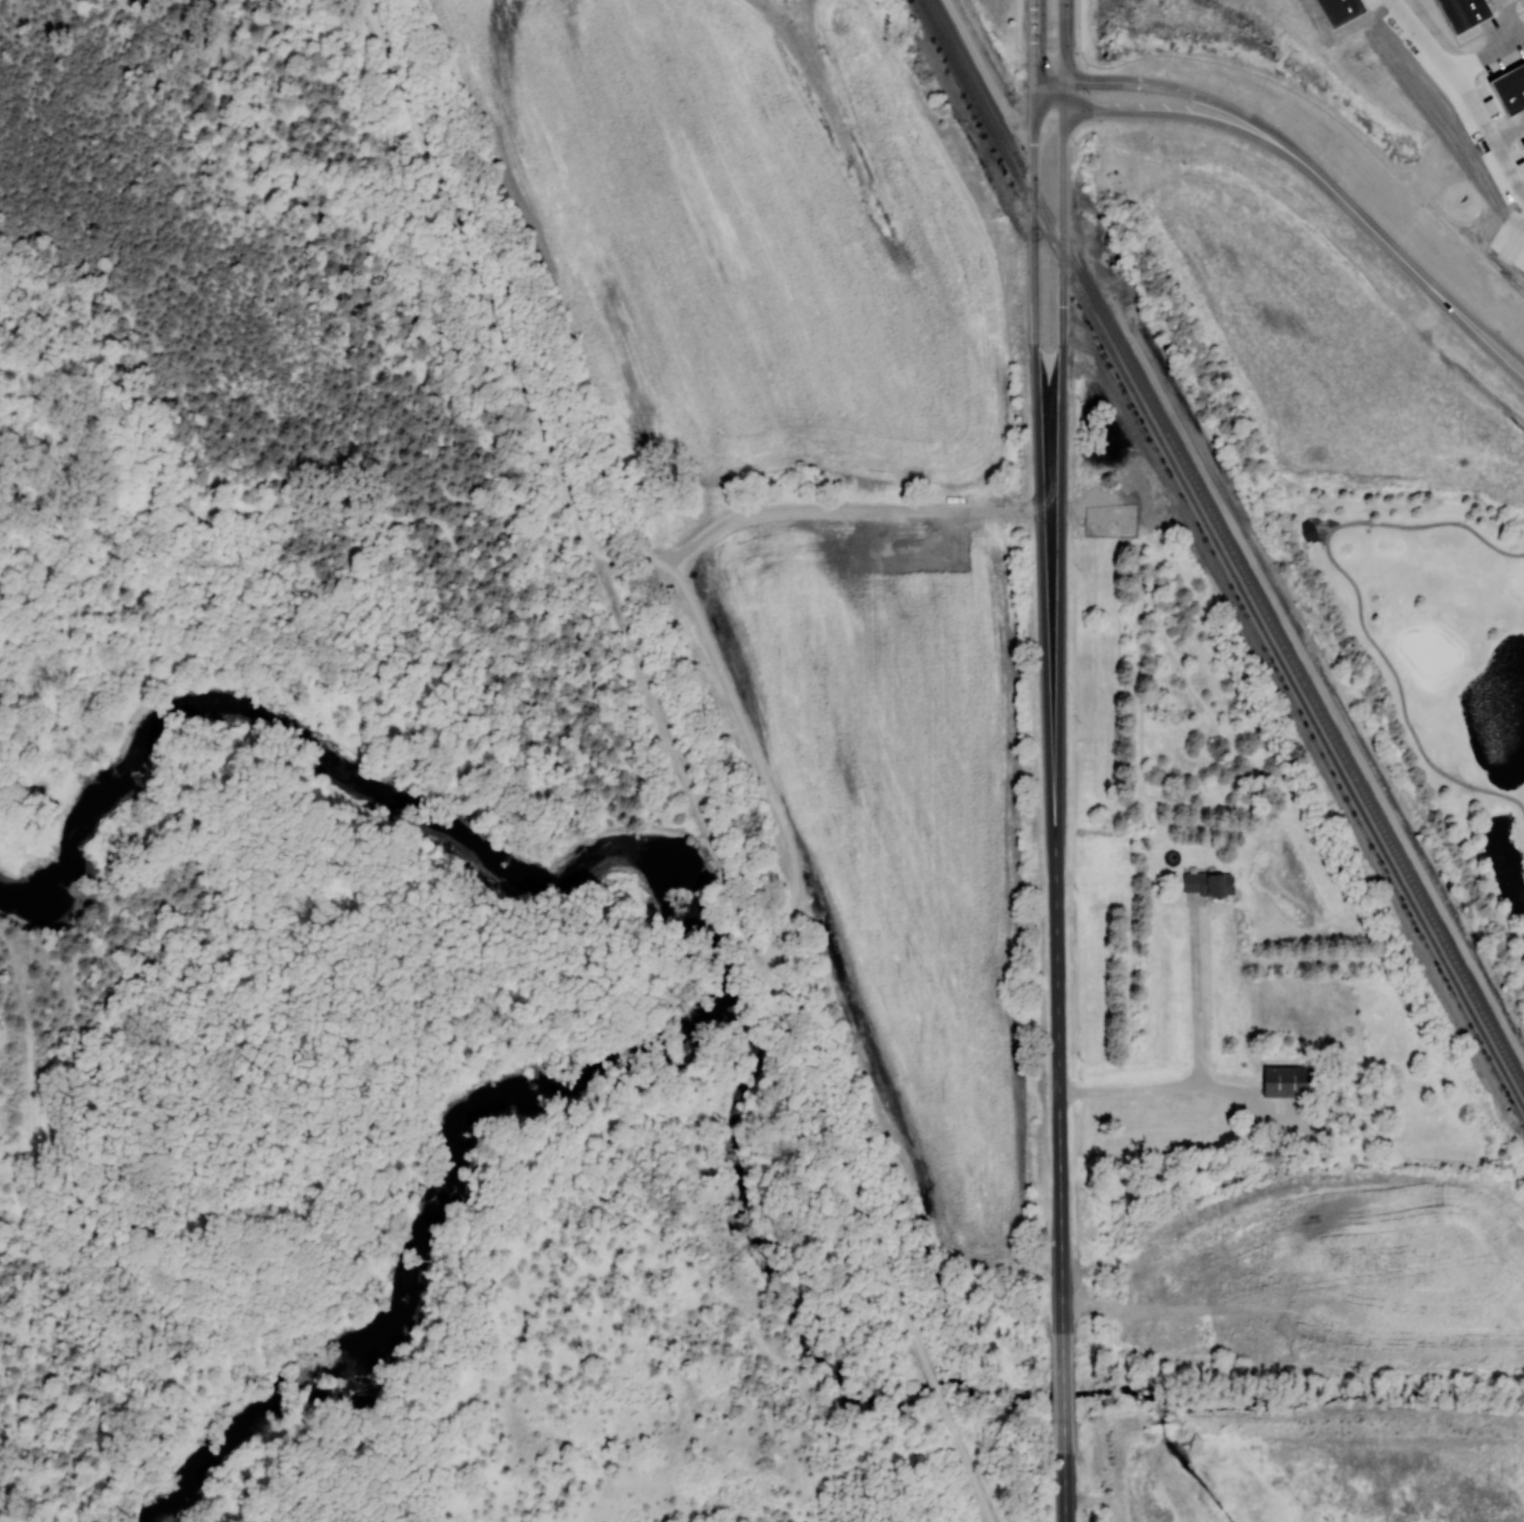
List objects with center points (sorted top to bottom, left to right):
building: (1342, 10)
building: (1461, 13)
road: (1511, 18)
road: (1081, 25)
road: (1015, 34)
road: (1033, 38)
road: (1065, 39)
road: (1427, 53)
road: (1486, 54)
building: (1509, 91)
road: (1194, 94)
road: (1322, 108)
road: (1190, 113)
road: (1509, 126)
building: (1523, 141)
road: (1500, 144)
building: (1523, 145)
road: (1424, 280)
road: (1038, 466)
road: (1061, 466)
road: (400, 513)
road: (1322, 526)
building: (1307, 532)
railway: (1229, 543)
railway: (1221, 555)
road: (1360, 601)
road: (711, 650)
park: (1429, 654)
park: (1113, 659)
river: (349, 774)
building: (1206, 882)
road: (1198, 1062)
building: (1290, 1081)
road: (1059, 1110)
road: (587, 1183)
river: (421, 1229)
park: (43, 1251)
road: (935, 1390)
road: (1063, 1394)
road: (967, 1468)
road: (1064, 1471)

